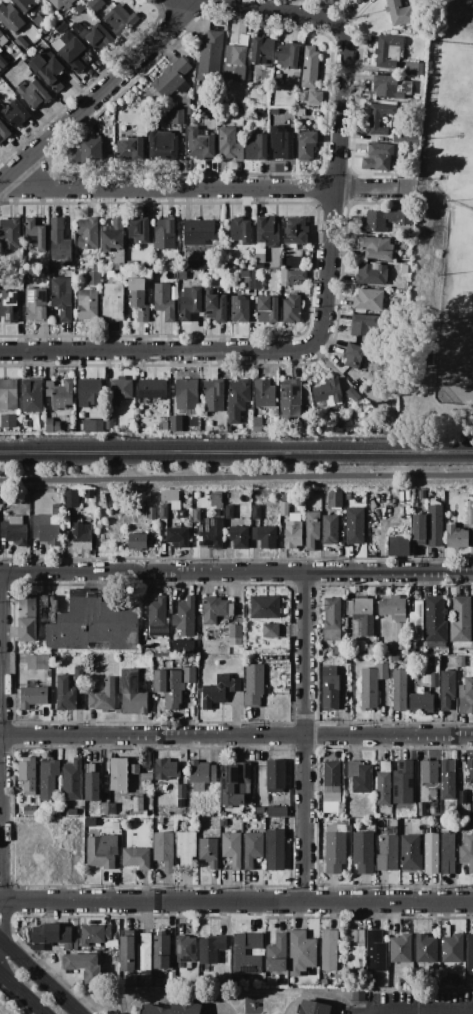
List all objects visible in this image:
building: (62, 3)
building: (24, 4)
building: (95, 4)
building: (79, 8)
road: (269, 10)
building: (399, 13)
building: (10, 17)
building: (38, 20)
building: (118, 21)
building: (61, 26)
building: (0, 30)
building: (97, 37)
building: (2, 40)
building: (21, 43)
building: (0, 50)
building: (262, 50)
building: (72, 51)
building: (388, 51)
building: (237, 52)
building: (288, 55)
building: (3, 61)
building: (210, 63)
building: (310, 68)
building: (0, 69)
building: (415, 69)
building: (48, 71)
building: (27, 72)
building: (172, 80)
building: (391, 87)
road: (99, 91)
building: (34, 94)
building: (314, 98)
building: (249, 101)
building: (185, 102)
building: (4, 110)
building: (239, 110)
building: (134, 113)
building: (259, 113)
building: (297, 113)
building: (17, 114)
building: (175, 115)
building: (379, 118)
park: (451, 124)
building: (4, 132)
building: (282, 142)
building: (308, 142)
building: (200, 144)
building: (229, 144)
building: (129, 145)
building: (162, 146)
building: (256, 147)
building: (86, 153)
building: (379, 157)
road: (170, 187)
road: (368, 189)
road: (333, 197)
building: (384, 220)
building: (139, 230)
building: (295, 230)
building: (240, 231)
building: (267, 231)
building: (198, 232)
building: (10, 233)
building: (88, 233)
building: (164, 233)
building: (35, 234)
building: (113, 236)
park: (443, 241)
building: (59, 243)
building: (290, 247)
building: (376, 248)
building: (259, 254)
building: (406, 260)
building: (131, 265)
building: (199, 265)
building: (154, 267)
building: (51, 273)
building: (109, 274)
building: (372, 274)
building: (182, 275)
building: (292, 277)
building: (94, 278)
building: (247, 279)
building: (258, 280)
park: (463, 282)
building: (137, 284)
building: (61, 297)
building: (368, 299)
building: (163, 301)
building: (113, 303)
building: (190, 303)
building: (139, 304)
building: (36, 305)
building: (9, 306)
building: (87, 306)
building: (215, 306)
building: (239, 309)
building: (267, 309)
building: (292, 309)
building: (363, 326)
park: (453, 328)
road: (146, 353)
building: (353, 355)
building: (48, 388)
building: (152, 389)
building: (119, 390)
building: (89, 393)
building: (326, 393)
building: (186, 394)
building: (263, 394)
building: (8, 395)
building: (31, 395)
building: (62, 395)
building: (213, 395)
building: (352, 395)
building: (290, 398)
building: (237, 399)
building: (47, 403)
building: (109, 414)
building: (43, 415)
building: (8, 421)
building: (173, 421)
building: (256, 422)
building: (109, 423)
building: (163, 423)
building: (130, 424)
building: (99, 425)
building: (51, 426)
building: (39, 428)
building: (256, 429)
railway: (236, 450)
railway: (236, 458)
park: (239, 476)
road: (236, 477)
building: (89, 494)
building: (430, 494)
building: (26, 495)
building: (196, 495)
building: (422, 495)
building: (348, 497)
building: (285, 498)
building: (70, 499)
building: (335, 499)
building: (216, 500)
building: (401, 501)
building: (416, 506)
building: (284, 508)
building: (228, 512)
building: (256, 513)
building: (469, 513)
building: (151, 514)
building: (181, 514)
building: (196, 516)
building: (397, 518)
building: (406, 518)
building: (435, 523)
building: (355, 526)
building: (47, 527)
building: (312, 529)
building: (329, 530)
building: (419, 530)
building: (14, 531)
building: (211, 533)
building: (293, 534)
building: (265, 536)
building: (81, 537)
building: (177, 537)
building: (239, 537)
building: (456, 537)
building: (137, 541)
building: (398, 547)
road: (236, 572)
building: (264, 607)
building: (393, 608)
building: (216, 609)
building: (157, 612)
building: (361, 614)
building: (27, 618)
building: (185, 618)
building: (460, 619)
building: (332, 620)
building: (89, 622)
building: (416, 622)
building: (434, 622)
building: (472, 625)
building: (270, 631)
building: (234, 635)
building: (397, 635)
building: (182, 646)
building: (371, 650)
building: (338, 651)
building: (394, 659)
building: (377, 660)
building: (451, 661)
building: (461, 661)
building: (326, 662)
building: (39, 663)
building: (79, 674)
building: (144, 674)
building: (434, 680)
building: (173, 685)
building: (253, 685)
building: (371, 686)
building: (330, 689)
building: (446, 689)
building: (218, 690)
building: (399, 690)
building: (286, 692)
building: (64, 694)
building: (132, 694)
building: (466, 696)
building: (33, 697)
building: (104, 697)
building: (421, 703)
road: (236, 735)
road: (0, 736)
road: (304, 737)
building: (146, 759)
building: (134, 769)
building: (165, 769)
building: (470, 770)
building: (429, 772)
building: (27, 774)
building: (117, 774)
building: (201, 775)
building: (146, 776)
building: (275, 776)
building: (360, 776)
building: (49, 779)
building: (71, 780)
building: (447, 780)
building: (91, 783)
building: (403, 783)
building: (235, 784)
building: (383, 784)
building: (144, 788)
building: (331, 789)
building: (181, 791)
building: (462, 798)
building: (138, 808)
building: (104, 809)
building: (111, 810)
building: (30, 811)
building: (432, 811)
building: (56, 812)
building: (277, 812)
building: (72, 813)
building: (223, 815)
building: (447, 815)
building: (126, 820)
building: (409, 821)
building: (223, 822)
building: (90, 823)
building: (335, 847)
building: (186, 848)
building: (231, 849)
building: (252, 849)
building: (163, 850)
building: (275, 850)
building: (102, 851)
building: (209, 852)
building: (363, 852)
building: (467, 852)
building: (410, 853)
building: (387, 854)
building: (431, 854)
building: (447, 854)
building: (136, 858)
road: (236, 902)
building: (94, 934)
building: (49, 936)
building: (451, 946)
building: (401, 949)
building: (469, 949)
building: (210, 950)
building: (355, 950)
building: (426, 950)
building: (127, 951)
building: (161, 951)
building: (185, 951)
building: (239, 952)
building: (301, 952)
building: (329, 952)
building: (375, 952)
building: (277, 954)
building: (144, 955)
building: (83, 966)
road: (39, 976)
building: (236, 981)
building: (271, 981)
road: (21, 994)
building: (359, 997)
parking lot: (412, 1004)
building: (184, 1008)
building: (314, 1008)
building: (154, 1010)
road: (427, 1011)

